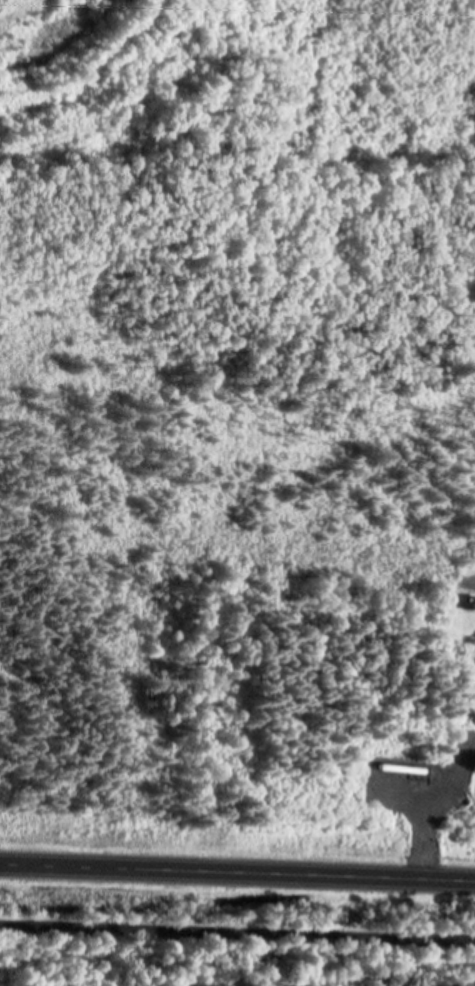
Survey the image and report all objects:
park: (459, 576)
building: (469, 600)
road: (237, 869)
road: (237, 930)
park: (213, 972)

